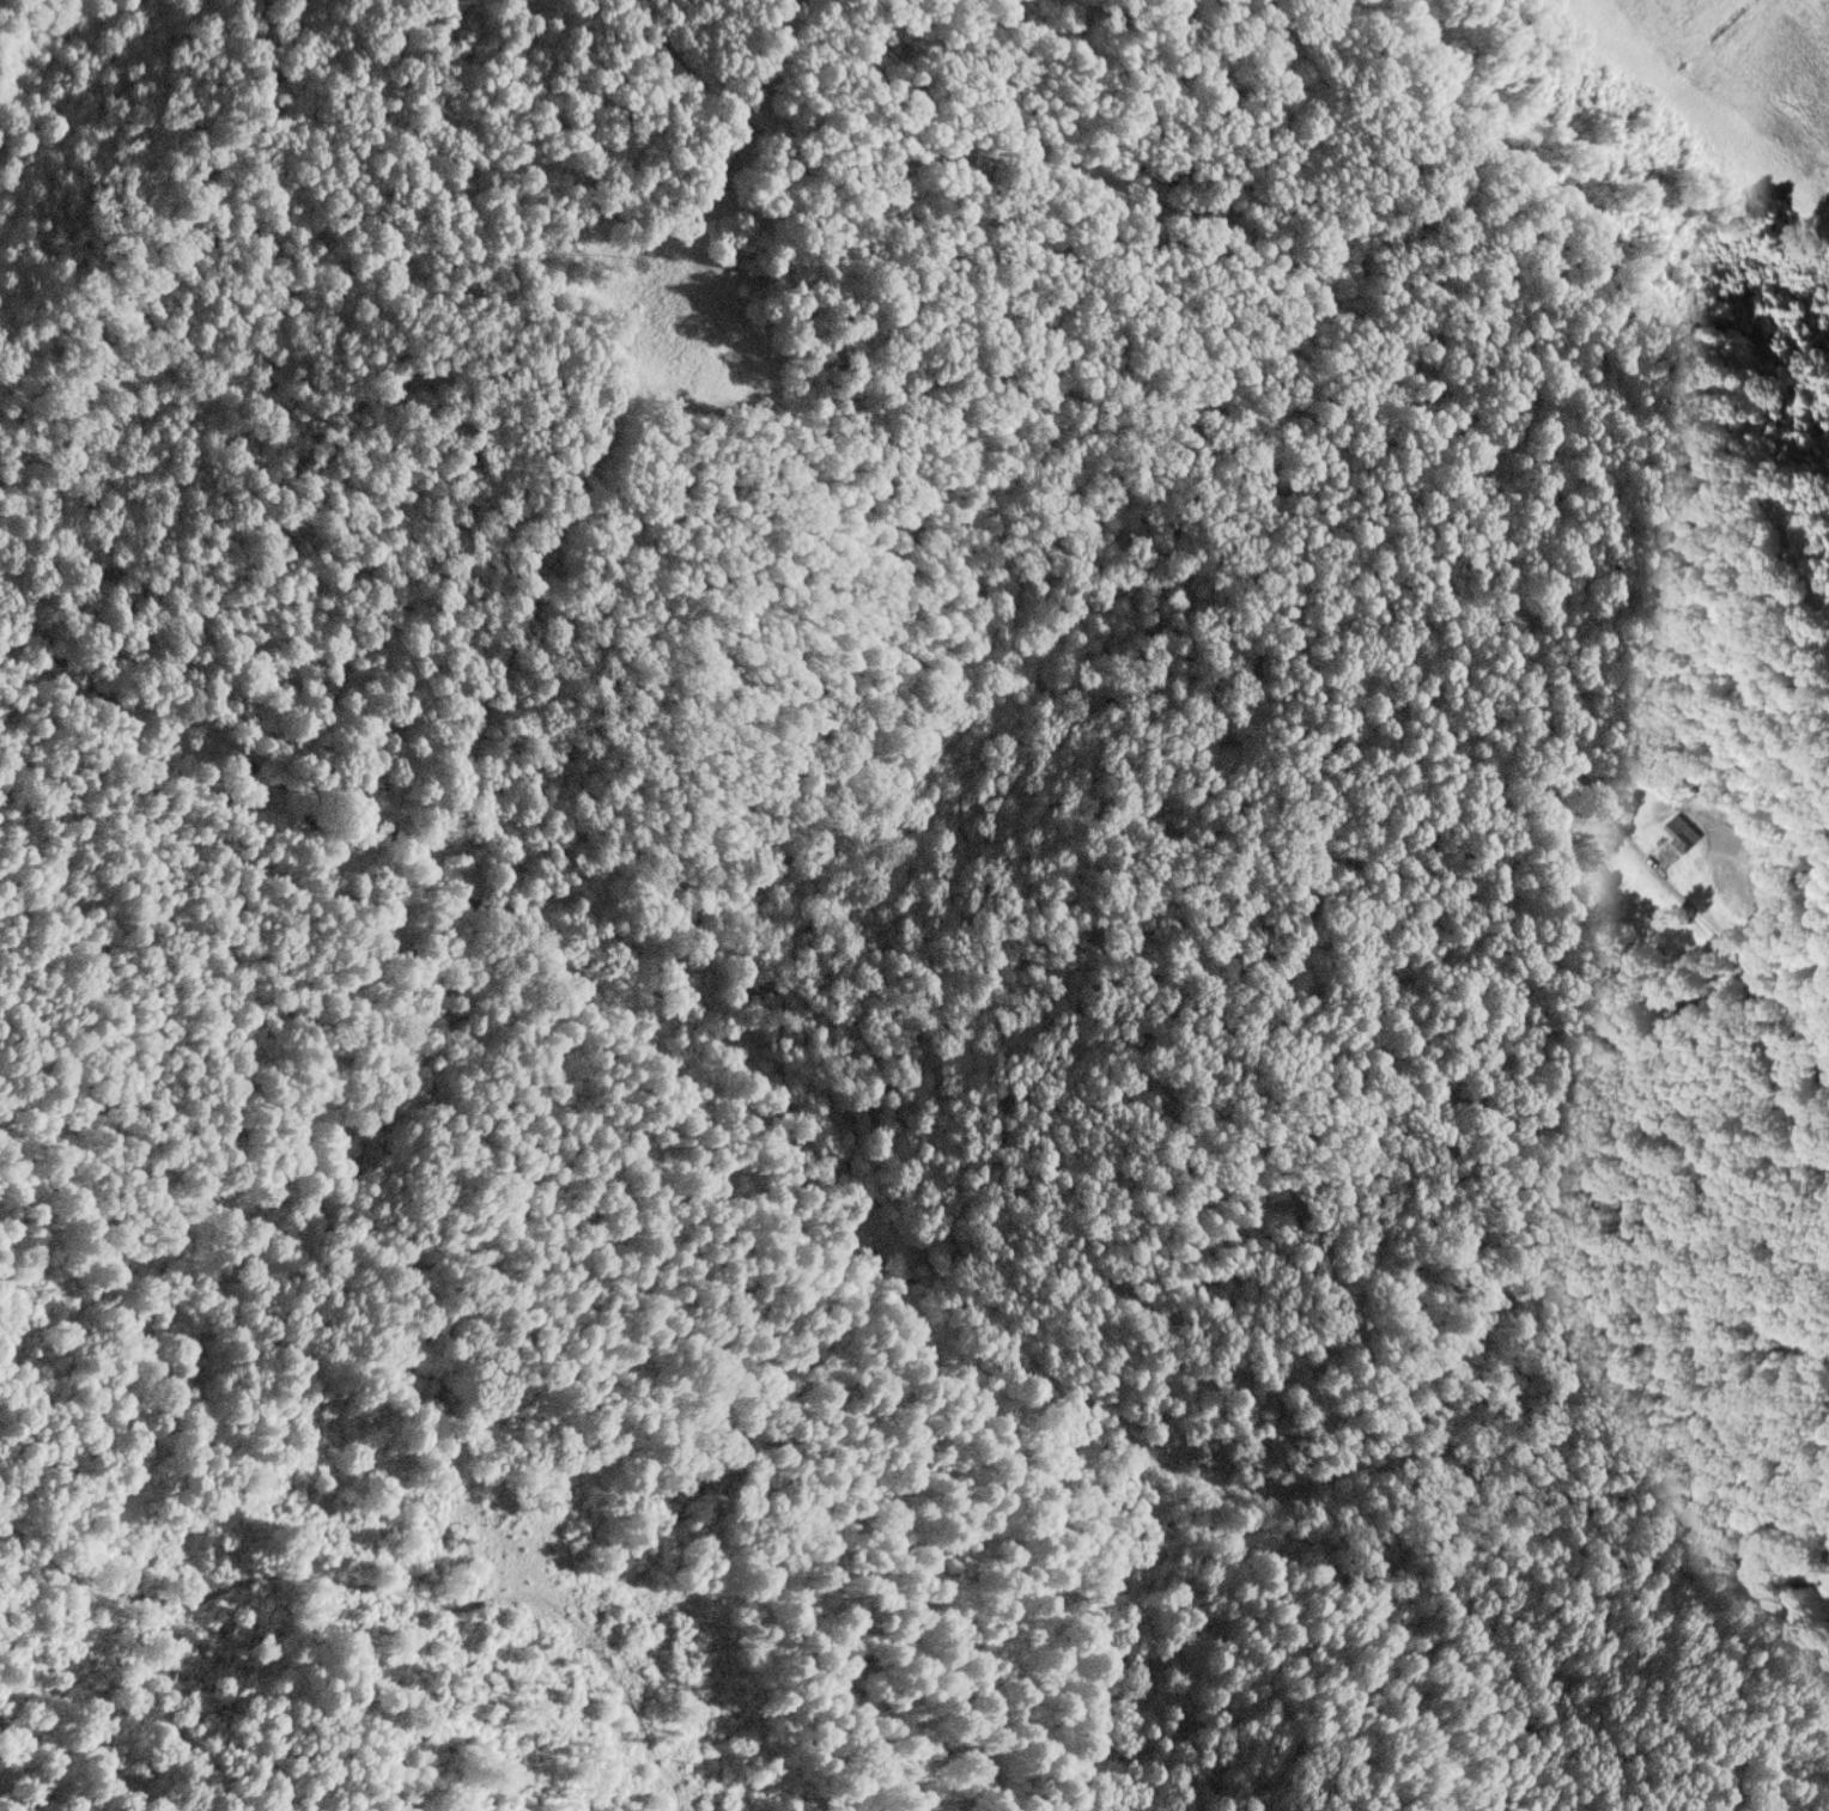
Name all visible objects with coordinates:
road: (717, 168)
road: (1398, 359)
building: (1683, 827)
crop: (1665, 871)
road: (439, 1597)

